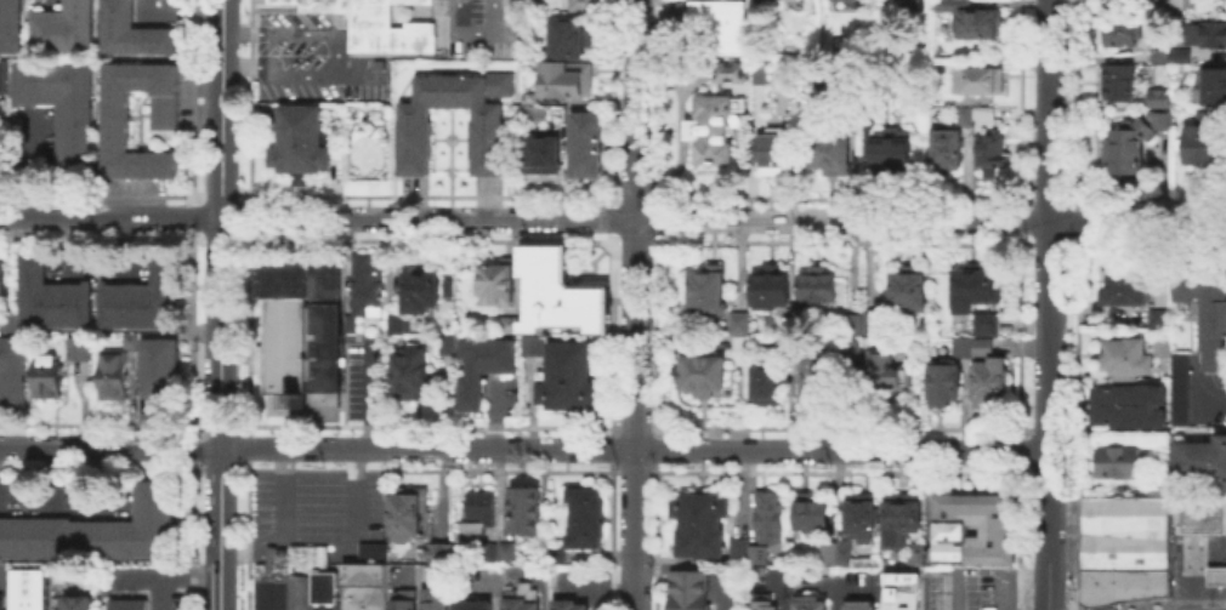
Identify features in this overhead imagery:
road: (51, 0)
building: (910, 2)
parking lot: (42, 4)
building: (581, 4)
building: (1164, 4)
building: (1176, 4)
building: (1105, 5)
parking lot: (154, 11)
road: (180, 12)
building: (971, 18)
building: (721, 23)
building: (374, 24)
building: (11, 25)
parking lot: (471, 25)
building: (63, 27)
road: (471, 28)
building: (131, 30)
building: (1118, 32)
building: (1205, 32)
building: (567, 35)
building: (527, 52)
building: (1158, 53)
building: (1180, 53)
road: (334, 56)
parking lot: (311, 58)
building: (730, 70)
building: (757, 72)
building: (2, 76)
road: (356, 78)
building: (563, 78)
building: (977, 78)
building: (1116, 80)
building: (1213, 84)
building: (528, 96)
building: (1157, 96)
building: (62, 107)
building: (534, 110)
building: (555, 110)
building: (115, 113)
building: (852, 113)
building: (981, 113)
building: (1216, 113)
building: (963, 114)
building: (1159, 116)
building: (713, 126)
parking lot: (30, 137)
building: (486, 137)
building: (884, 139)
building: (299, 141)
building: (1203, 142)
building: (585, 143)
building: (1125, 146)
building: (942, 148)
building: (773, 149)
building: (829, 149)
building: (989, 149)
building: (540, 152)
road: (32, 163)
road: (317, 218)
road: (931, 221)
road: (69, 246)
road: (125, 246)
parking lot: (96, 263)
building: (2, 278)
building: (494, 281)
building: (816, 285)
building: (969, 285)
building: (1124, 285)
building: (363, 286)
building: (771, 286)
building: (705, 287)
building: (419, 289)
building: (906, 289)
building: (558, 291)
building: (142, 296)
building: (50, 297)
building: (1204, 303)
road: (221, 304)
road: (635, 304)
road: (1049, 304)
building: (1158, 318)
building: (7, 319)
building: (738, 320)
building: (872, 320)
building: (787, 321)
building: (983, 321)
building: (392, 323)
building: (507, 323)
building: (851, 323)
building: (299, 330)
building: (129, 338)
building: (739, 340)
building: (444, 343)
building: (532, 343)
building: (788, 343)
building: (981, 343)
building: (960, 344)
building: (1162, 346)
building: (78, 347)
building: (850, 349)
building: (1125, 354)
building: (158, 364)
building: (481, 365)
building: (12, 369)
building: (885, 371)
building: (110, 372)
building: (409, 372)
building: (46, 375)
parking lot: (364, 375)
building: (705, 375)
building: (567, 376)
building: (817, 378)
building: (767, 380)
building: (987, 380)
building: (943, 381)
building: (1179, 387)
road: (369, 390)
parking lot: (1196, 390)
road: (1209, 395)
parking lot: (500, 397)
parking lot: (154, 404)
building: (1128, 404)
road: (496, 412)
road: (147, 418)
road: (1137, 432)
road: (523, 445)
building: (1117, 458)
building: (1201, 461)
road: (47, 475)
road: (101, 477)
road: (318, 477)
building: (1157, 485)
road: (318, 488)
parking lot: (67, 495)
road: (318, 496)
road: (318, 506)
parking lot: (319, 506)
building: (522, 507)
building: (476, 511)
building: (810, 511)
building: (407, 512)
building: (584, 514)
building: (768, 514)
building: (859, 514)
building: (1199, 515)
road: (318, 517)
building: (899, 517)
building: (699, 523)
road: (318, 525)
building: (950, 528)
building: (97, 529)
road: (319, 536)
road: (251, 545)
building: (1124, 547)
building: (738, 548)
road: (344, 549)
building: (433, 549)
building: (488, 549)
building: (505, 549)
building: (842, 549)
building: (370, 551)
building: (827, 551)
road: (254, 552)
building: (756, 552)
building: (916, 552)
road: (295, 554)
building: (556, 554)
parking lot: (1198, 563)
road: (698, 565)
building: (829, 568)
road: (1196, 569)
building: (56, 570)
road: (1005, 571)
road: (131, 572)
road: (189, 572)
parking lot: (513, 572)
parking lot: (414, 574)
road: (1211, 574)
building: (1215, 574)
gas station: (1215, 574)
road: (1222, 574)
parking lot: (2, 575)
road: (411, 575)
parking lot: (475, 577)
building: (295, 578)
road: (538, 578)
road: (118, 580)
parking lot: (771, 581)
road: (490, 582)
parking lot: (583, 583)
parking lot: (807, 583)
parking lot: (857, 583)
road: (825, 585)
building: (363, 586)
road: (598, 586)
parking lot: (725, 586)
road: (416, 587)
building: (906, 587)
parking lot: (970, 587)
building: (27, 588)
building: (687, 588)
road: (787, 588)
road: (842, 588)
road: (104, 589)
road: (159, 591)
road: (950, 591)
road: (597, 592)
road: (1210, 592)
building: (520, 597)
building: (401, 598)
building: (432, 598)
parking lot: (165, 599)
building: (1, 600)
building: (69, 602)
building: (469, 602)
building: (808, 602)
building: (126, 603)
building: (567, 603)
road: (118, 604)
road: (129, 604)
building: (764, 604)
building: (859, 604)

